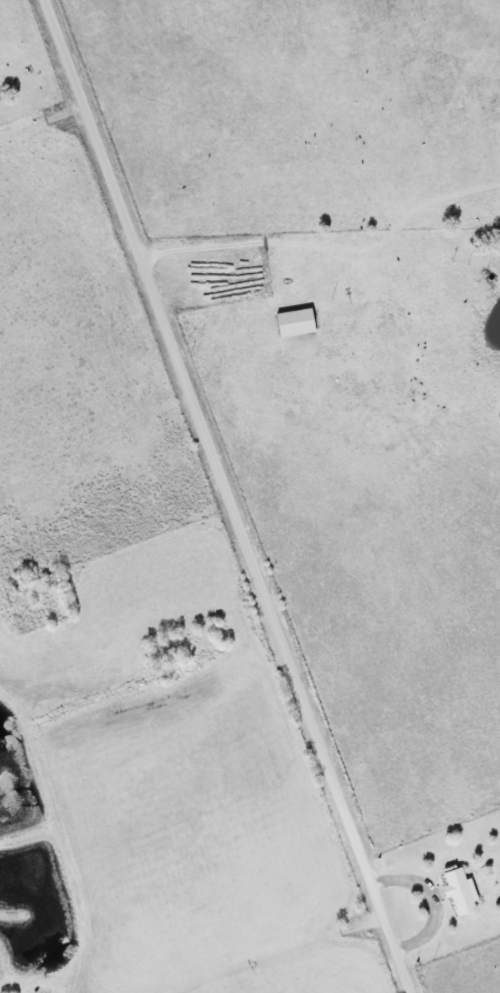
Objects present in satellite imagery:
building: (291, 322)
road: (224, 496)
building: (455, 891)
road: (430, 894)

